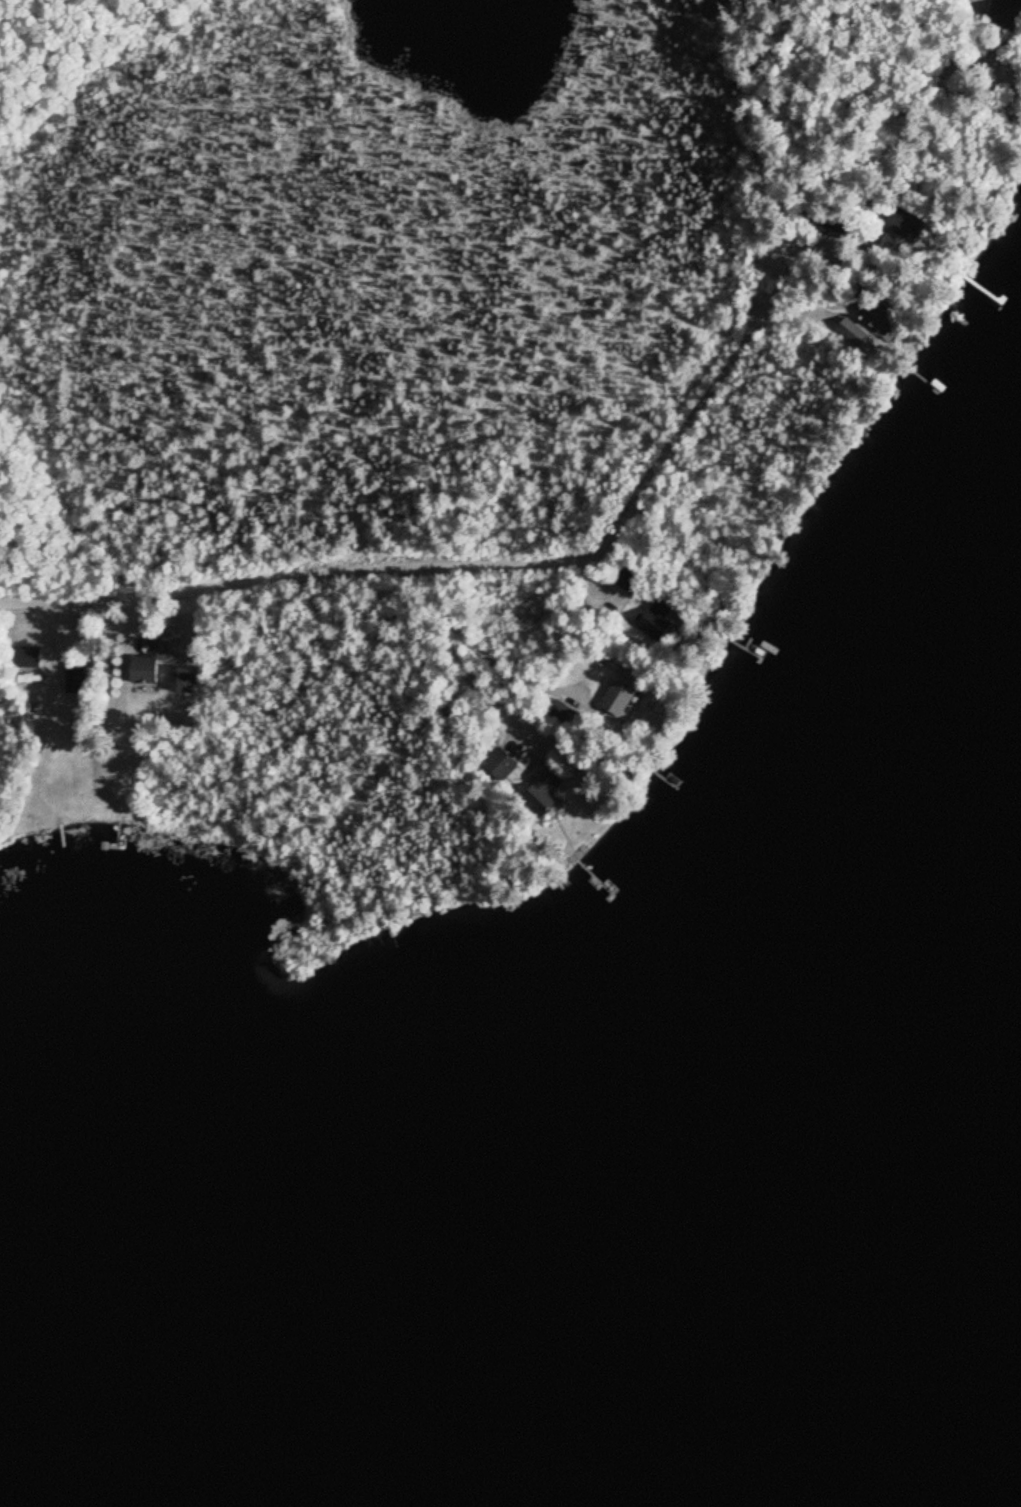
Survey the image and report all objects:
building: (831, 229)
building: (898, 229)
road: (767, 315)
building: (874, 317)
building: (852, 332)
road: (286, 579)
building: (626, 581)
building: (655, 620)
building: (26, 659)
building: (148, 660)
building: (75, 679)
building: (182, 680)
building: (615, 700)
building: (556, 714)
building: (499, 767)
building: (537, 786)

